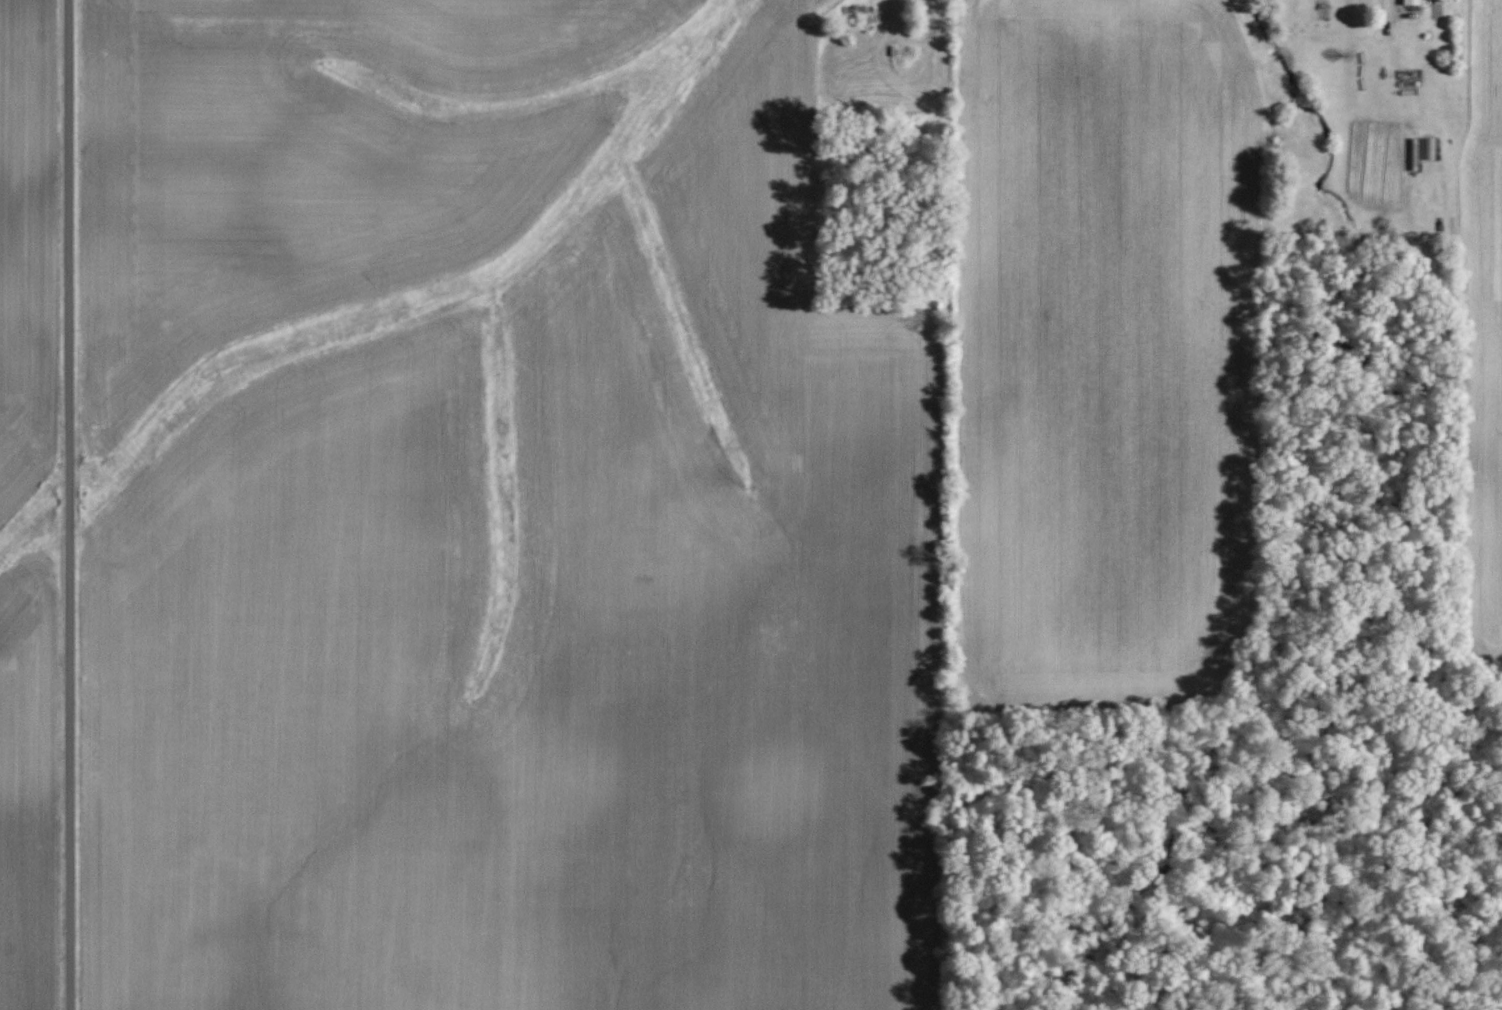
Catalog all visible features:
building: (1413, 2)
road: (1393, 6)
road: (930, 119)
building: (1428, 148)
road: (68, 504)

